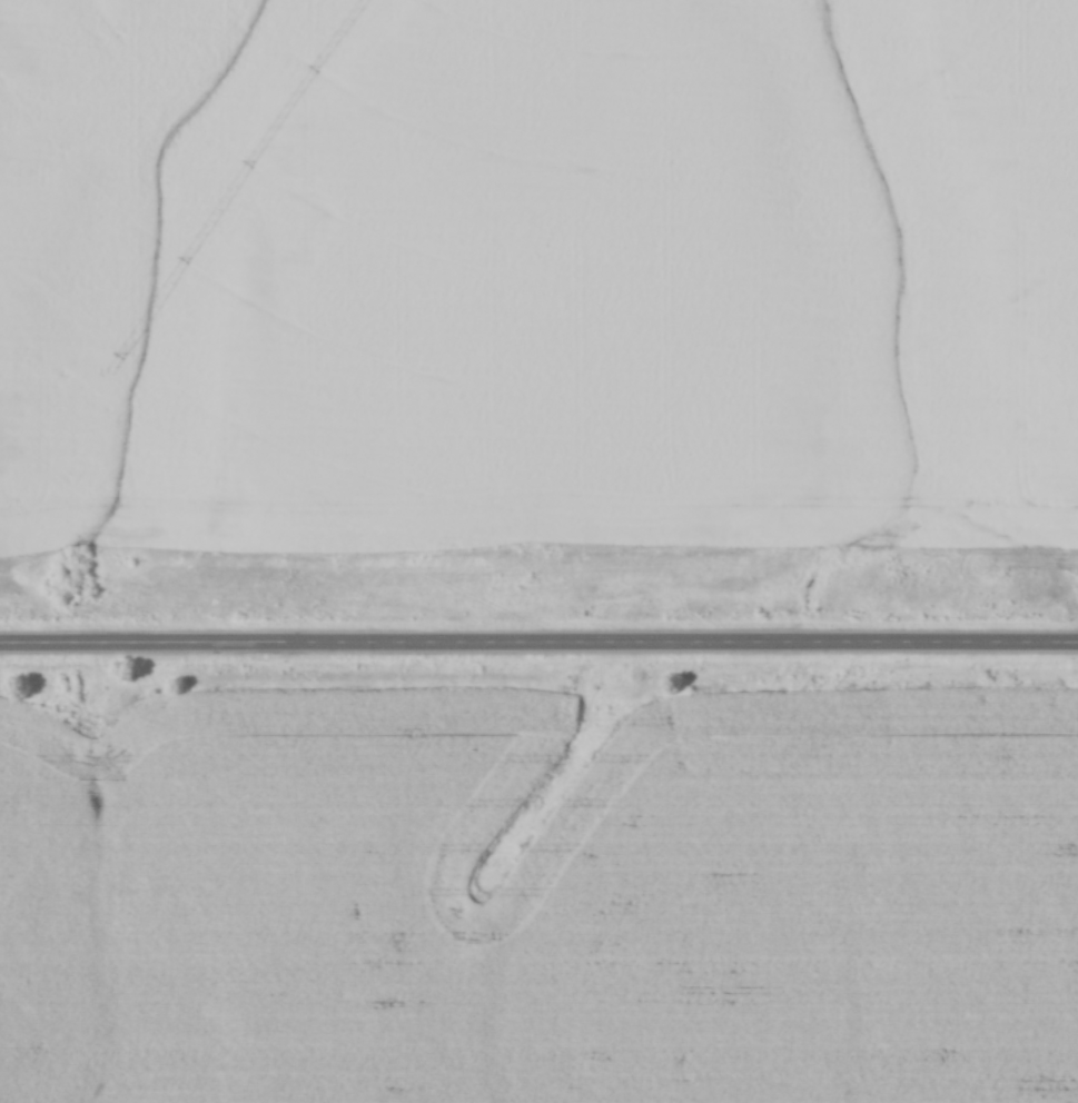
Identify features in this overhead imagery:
road: (538, 628)

